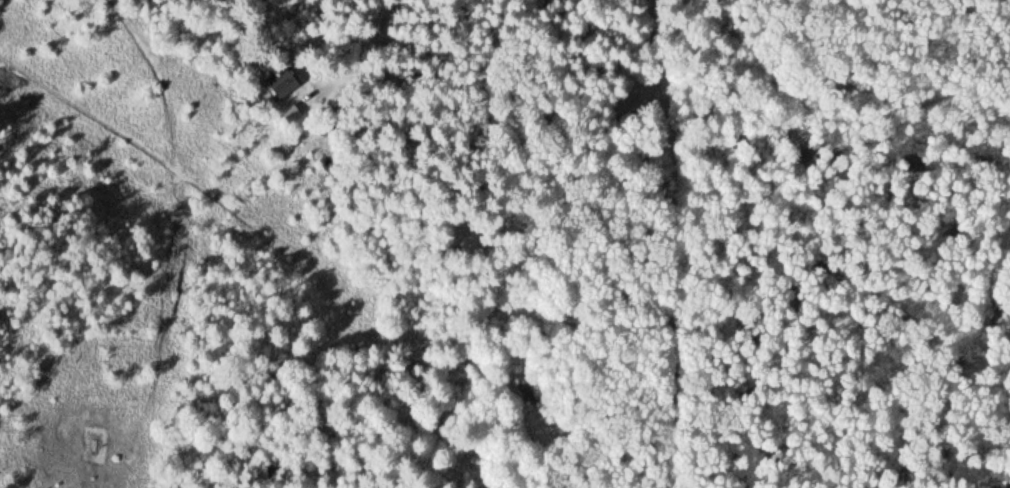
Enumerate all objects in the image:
building: (279, 82)
road: (242, 219)

